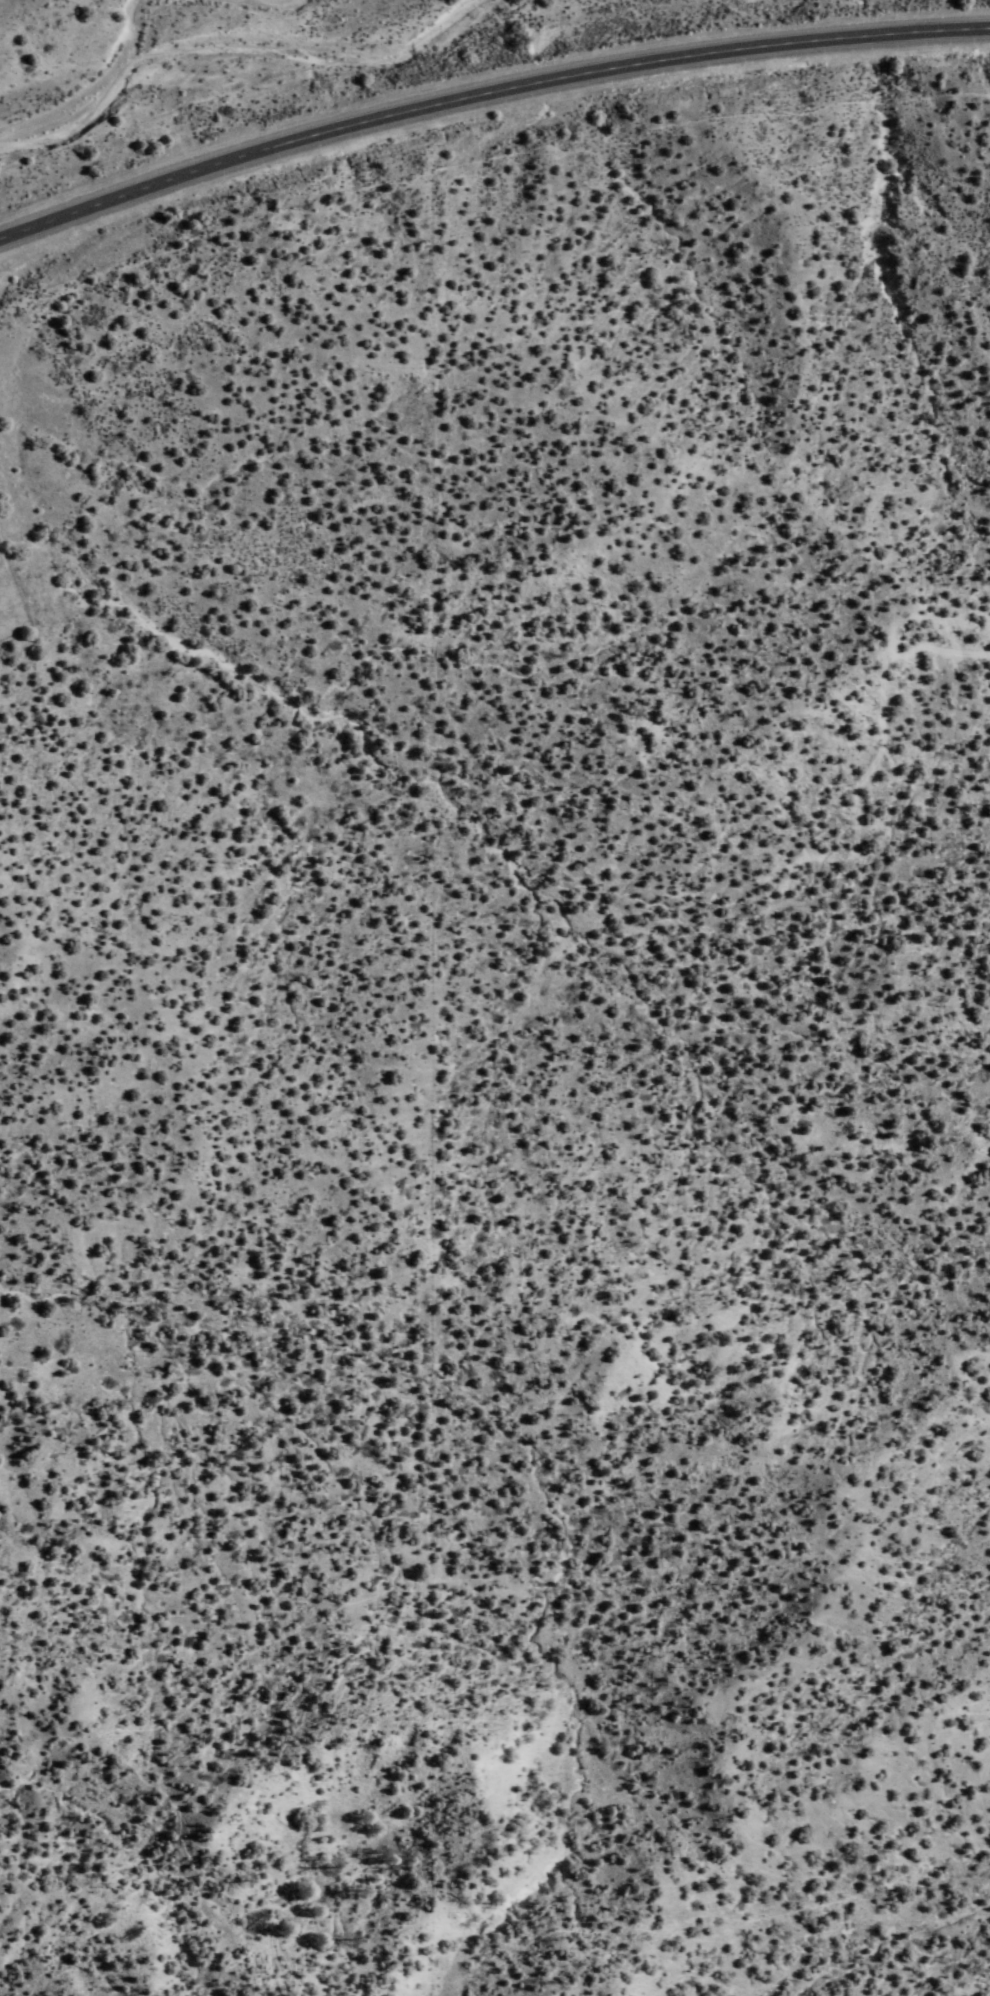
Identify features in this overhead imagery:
road: (477, 55)

